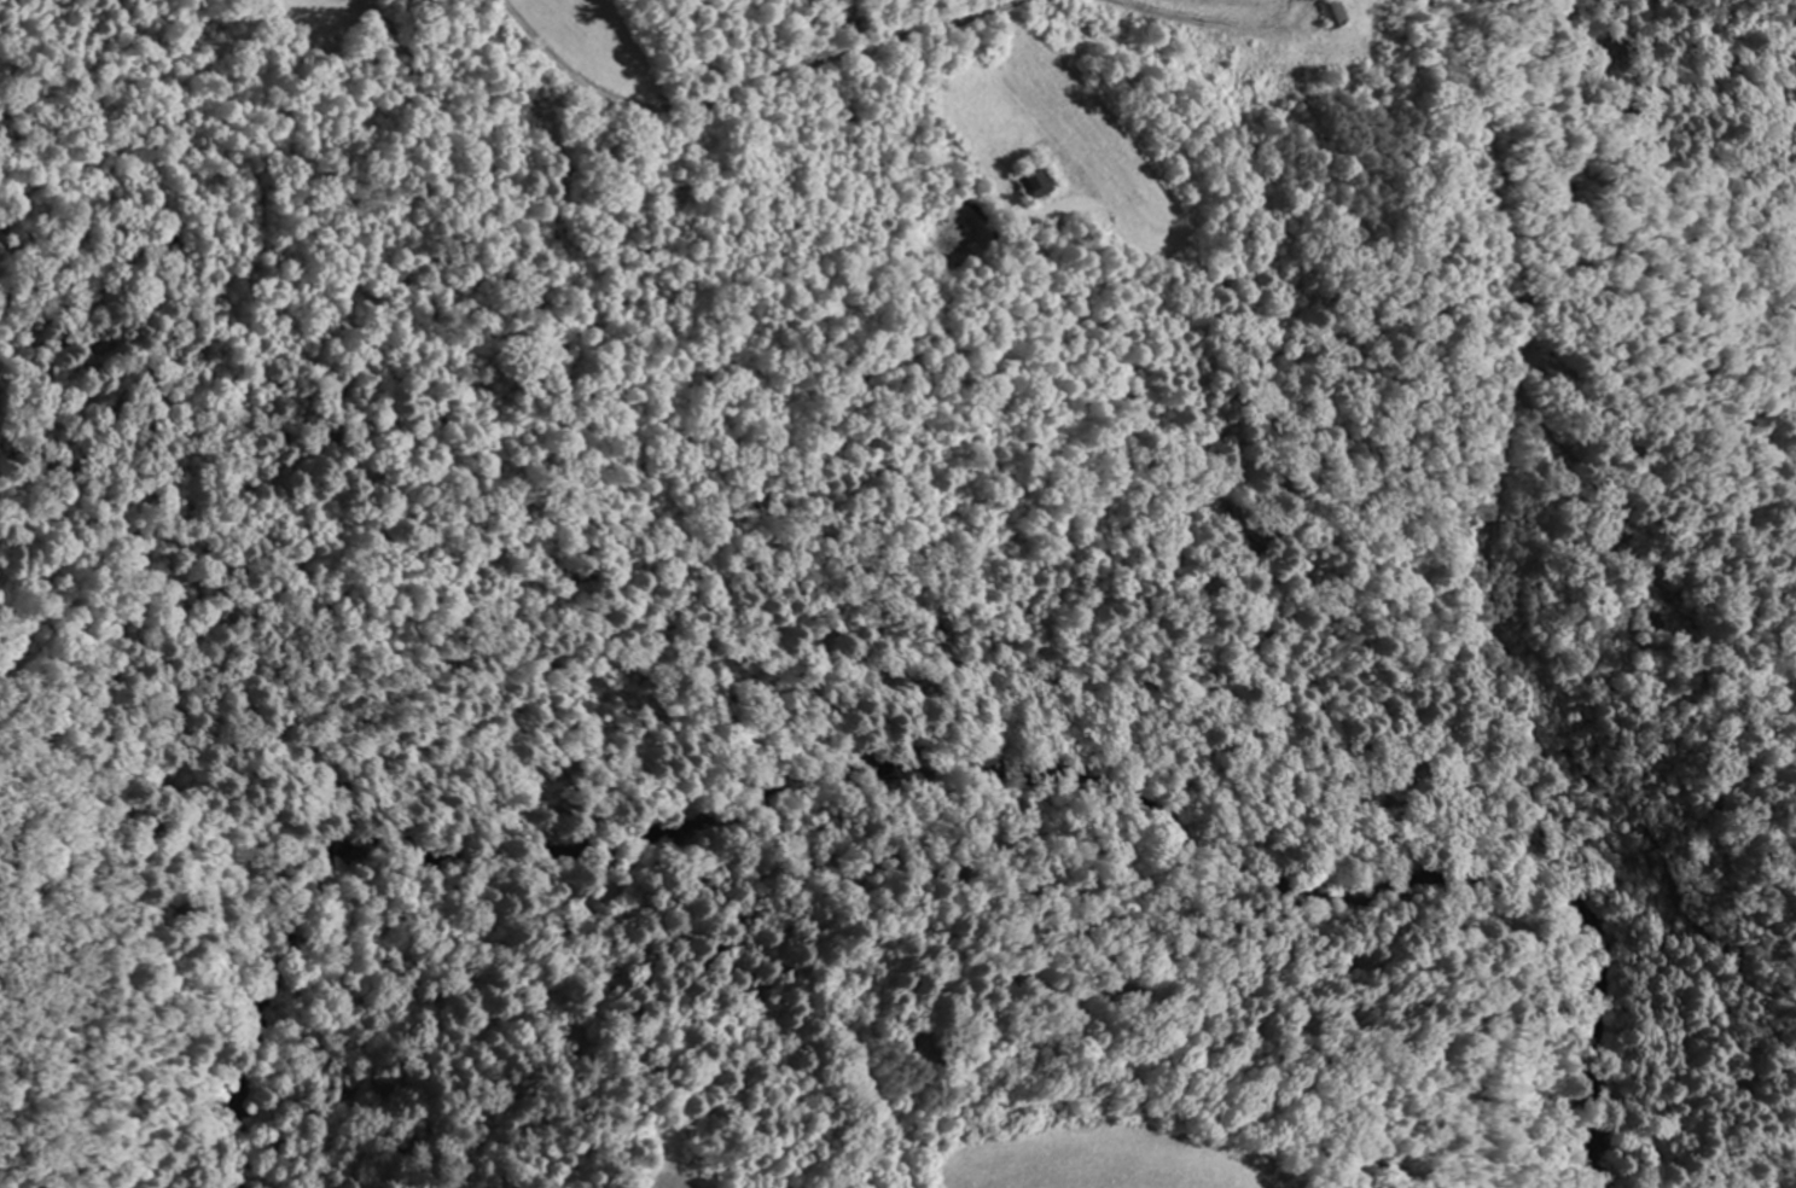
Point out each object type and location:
road: (1309, 7)
building: (1330, 14)
building: (1029, 182)

